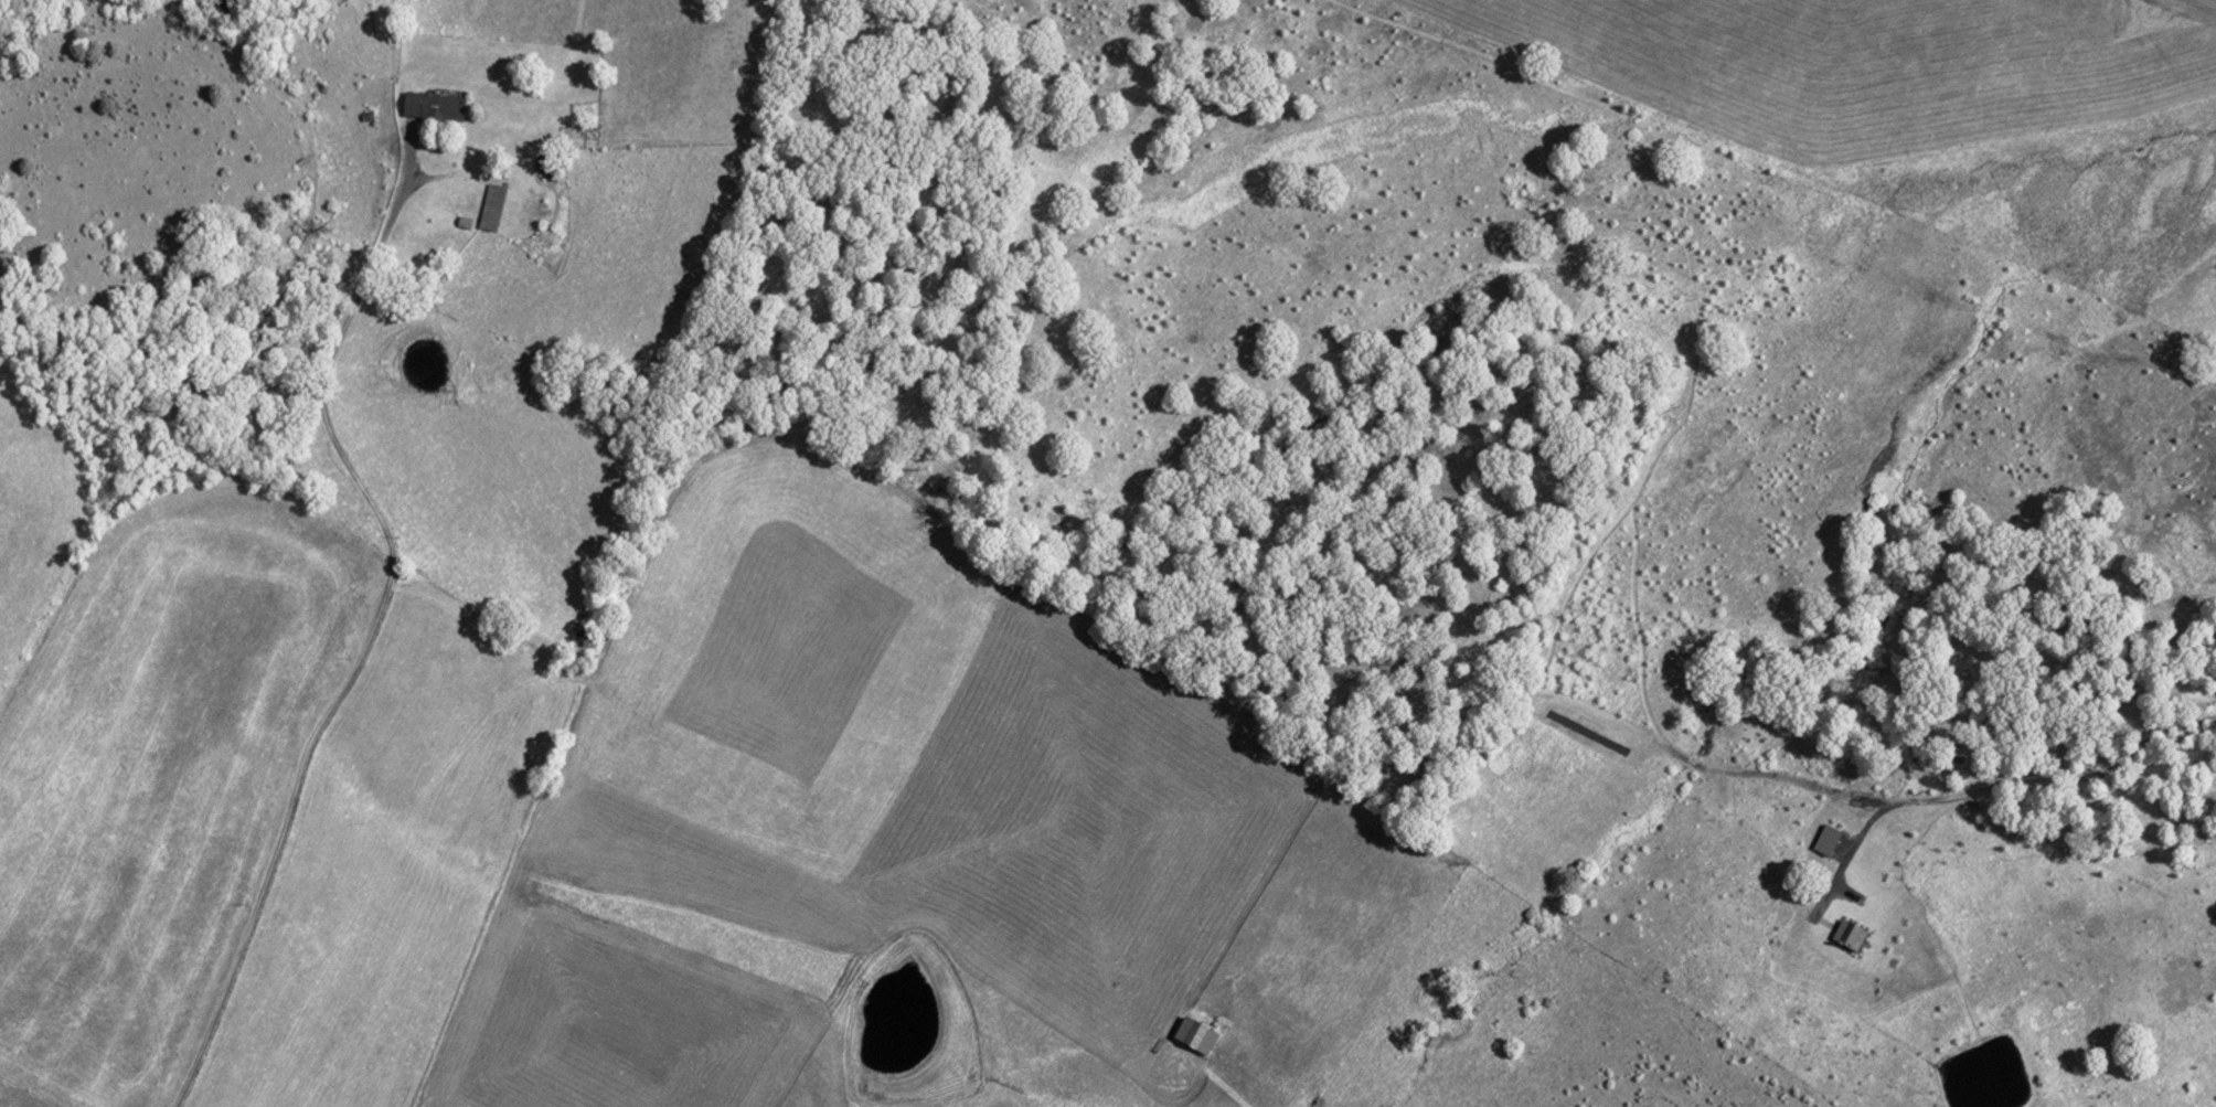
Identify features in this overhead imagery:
building: (432, 106)
building: (491, 206)
road: (365, 636)
road: (1994, 783)
building: (1825, 840)
building: (1847, 936)
building: (1194, 1036)

